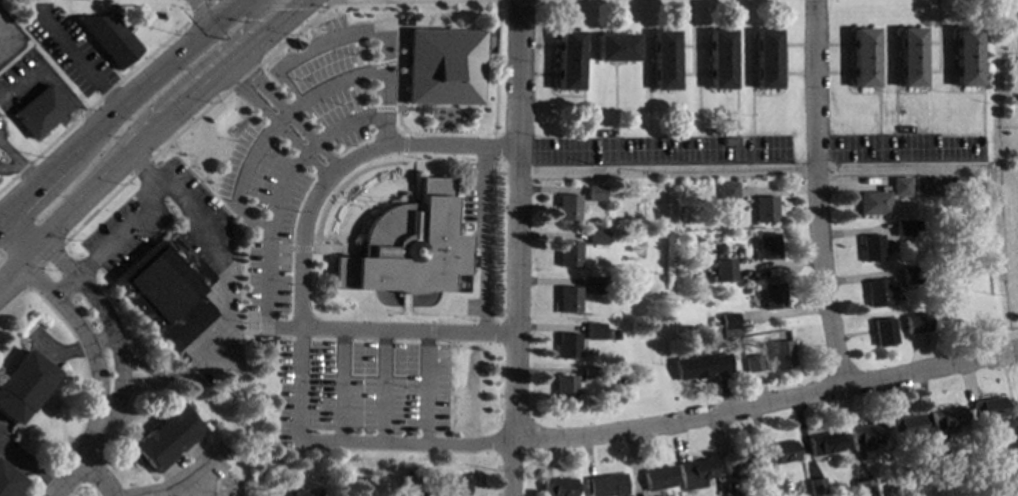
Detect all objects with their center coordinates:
road: (272, 0)
road: (199, 9)
road: (313, 16)
road: (203, 20)
building: (109, 39)
road: (325, 44)
building: (614, 47)
road: (75, 55)
building: (909, 57)
building: (965, 57)
building: (765, 58)
building: (863, 58)
building: (719, 59)
building: (567, 60)
building: (663, 60)
road: (383, 62)
road: (400, 67)
building: (443, 67)
road: (51, 83)
road: (92, 102)
road: (118, 108)
road: (382, 108)
road: (416, 109)
building: (40, 111)
road: (285, 115)
road: (166, 123)
road: (273, 126)
building: (727, 141)
road: (404, 147)
road: (303, 154)
road: (20, 164)
road: (751, 167)
road: (141, 170)
road: (33, 173)
road: (349, 180)
building: (900, 186)
building: (923, 186)
building: (932, 186)
building: (727, 192)
building: (593, 193)
road: (819, 193)
road: (410, 195)
building: (873, 203)
building: (566, 207)
building: (765, 209)
building: (915, 225)
building: (903, 229)
road: (16, 234)
road: (121, 234)
road: (474, 238)
building: (595, 238)
road: (267, 240)
road: (484, 240)
road: (143, 246)
building: (406, 246)
building: (765, 246)
road: (289, 247)
road: (518, 248)
building: (871, 248)
road: (336, 249)
building: (568, 253)
building: (472, 261)
road: (40, 264)
building: (708, 265)
road: (15, 267)
road: (218, 270)
building: (723, 271)
building: (909, 275)
building: (710, 277)
building: (597, 285)
road: (62, 286)
building: (167, 290)
building: (876, 293)
building: (772, 296)
building: (567, 299)
road: (298, 315)
road: (433, 317)
building: (713, 321)
building: (728, 321)
building: (909, 323)
road: (107, 325)
road: (432, 325)
building: (593, 331)
building: (882, 331)
road: (79, 334)
building: (611, 334)
road: (1009, 335)
road: (98, 338)
building: (566, 346)
road: (57, 352)
road: (1001, 353)
building: (781, 354)
building: (753, 363)
building: (700, 366)
road: (86, 371)
building: (589, 372)
road: (1, 373)
road: (154, 376)
building: (22, 385)
road: (342, 386)
road: (383, 387)
road: (427, 389)
building: (564, 389)
road: (467, 390)
road: (767, 401)
road: (1011, 403)
building: (989, 409)
building: (947, 420)
road: (60, 421)
building: (907, 427)
building: (865, 435)
building: (165, 439)
building: (825, 443)
road: (91, 444)
road: (200, 452)
building: (780, 453)
road: (30, 462)
building: (740, 462)
building: (942, 469)
road: (175, 473)
building: (696, 473)
road: (100, 475)
road: (158, 475)
road: (66, 477)
building: (659, 477)
building: (357, 480)
building: (8, 481)
road: (180, 481)
building: (409, 483)
road: (192, 484)
building: (454, 484)
building: (607, 485)
building: (559, 486)
building: (817, 487)
building: (864, 487)
building: (776, 488)
road: (163, 493)
building: (303, 493)
building: (733, 493)
building: (891, 493)
building: (758, 495)

